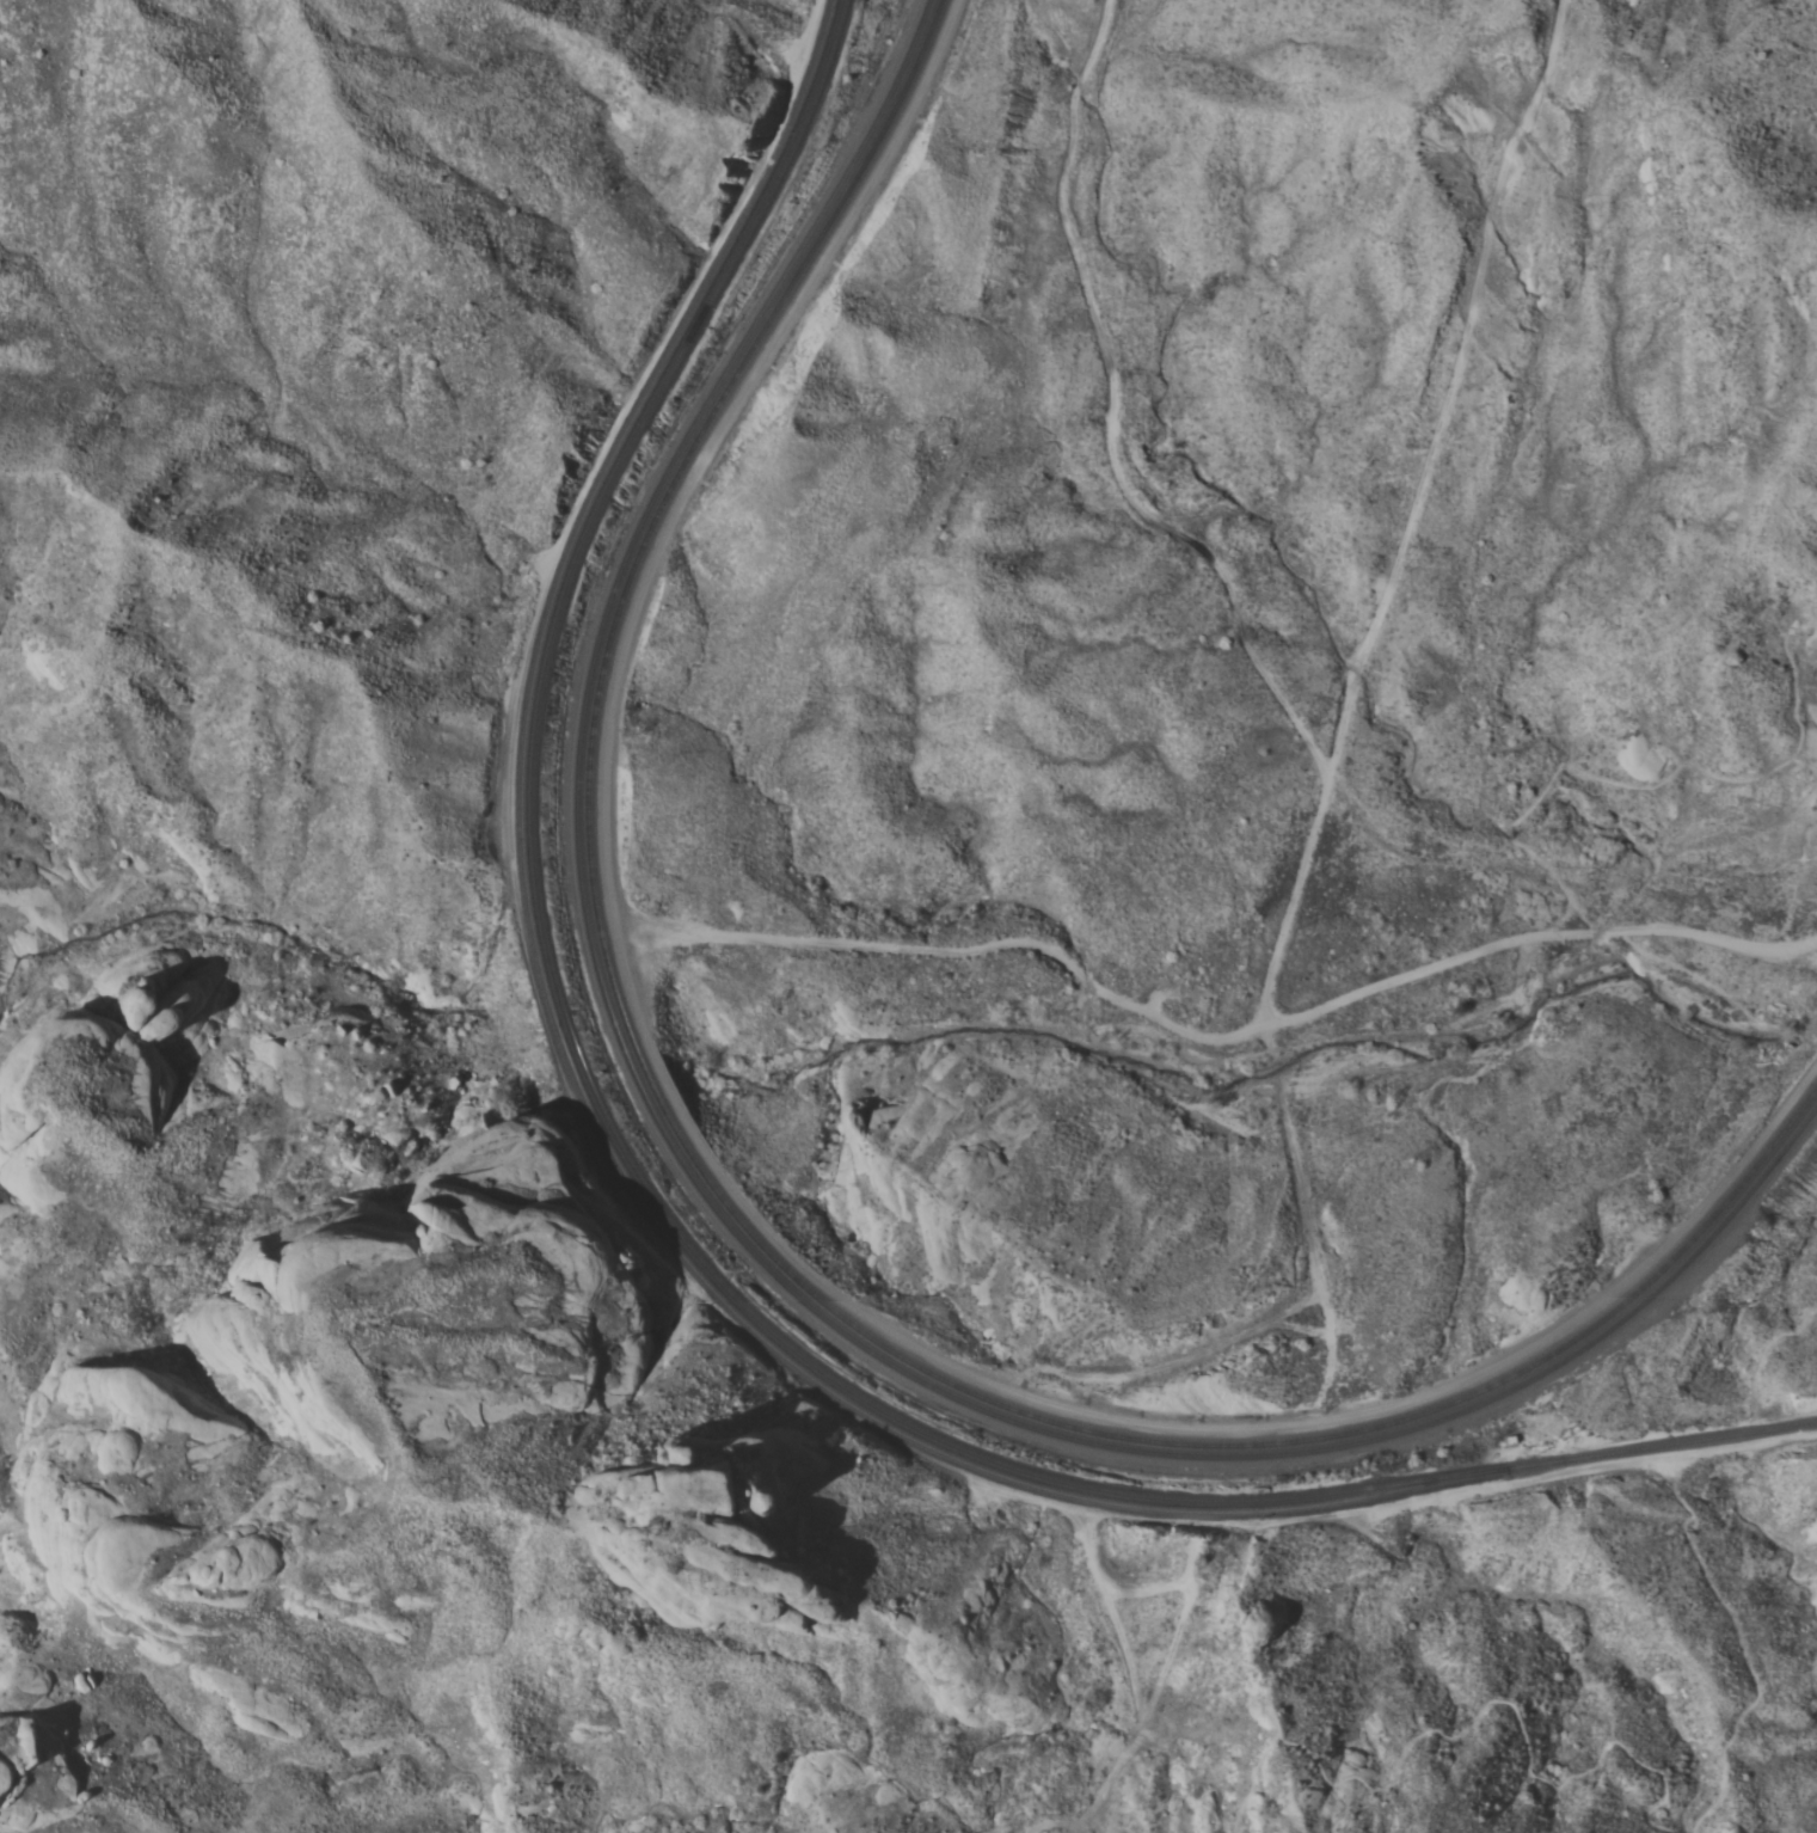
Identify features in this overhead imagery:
railway: (863, 147)
railway: (872, 151)
road: (1447, 388)
road: (1316, 761)
road: (1552, 781)
road: (1136, 1009)
railway: (560, 1060)
road: (733, 1187)
railway: (644, 1189)
railway: (834, 1311)
railway: (822, 1316)
road: (1162, 1365)
road: (1344, 1512)
road: (1693, 1550)
road: (1135, 1697)
road: (1474, 1724)

